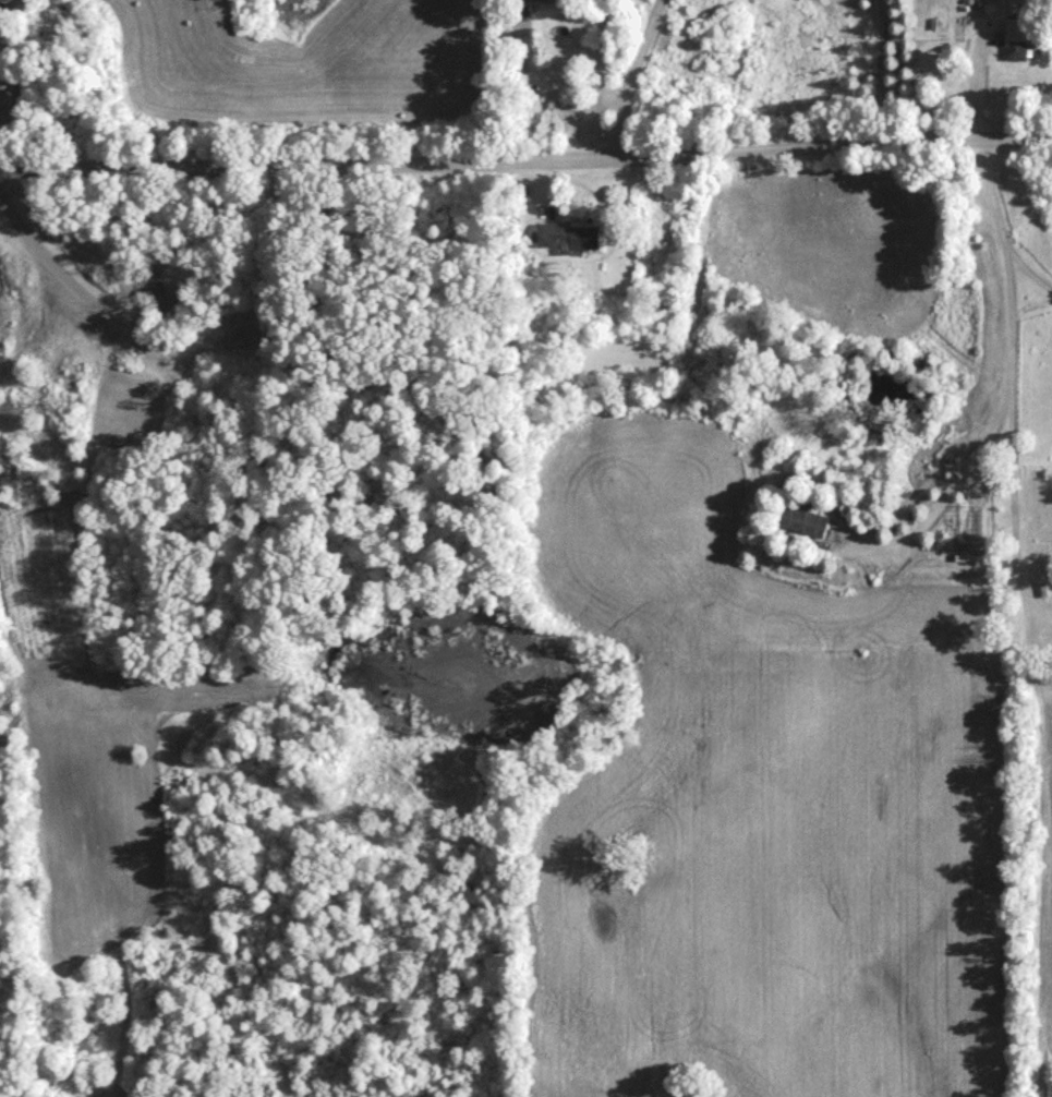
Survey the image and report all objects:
building: (974, 1)
building: (530, 2)
building: (1014, 46)
road: (628, 79)
building: (3, 99)
road: (561, 106)
road: (525, 165)
building: (568, 242)
road: (1028, 276)
building: (731, 306)
road: (1012, 375)
road: (958, 487)
building: (803, 526)

